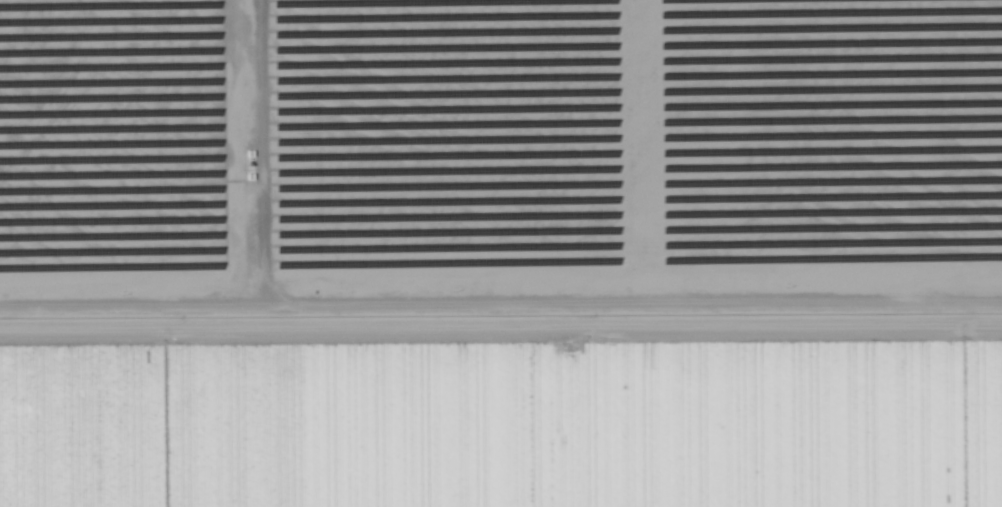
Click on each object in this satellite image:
solar farm: (499, 160)
crop: (508, 424)

